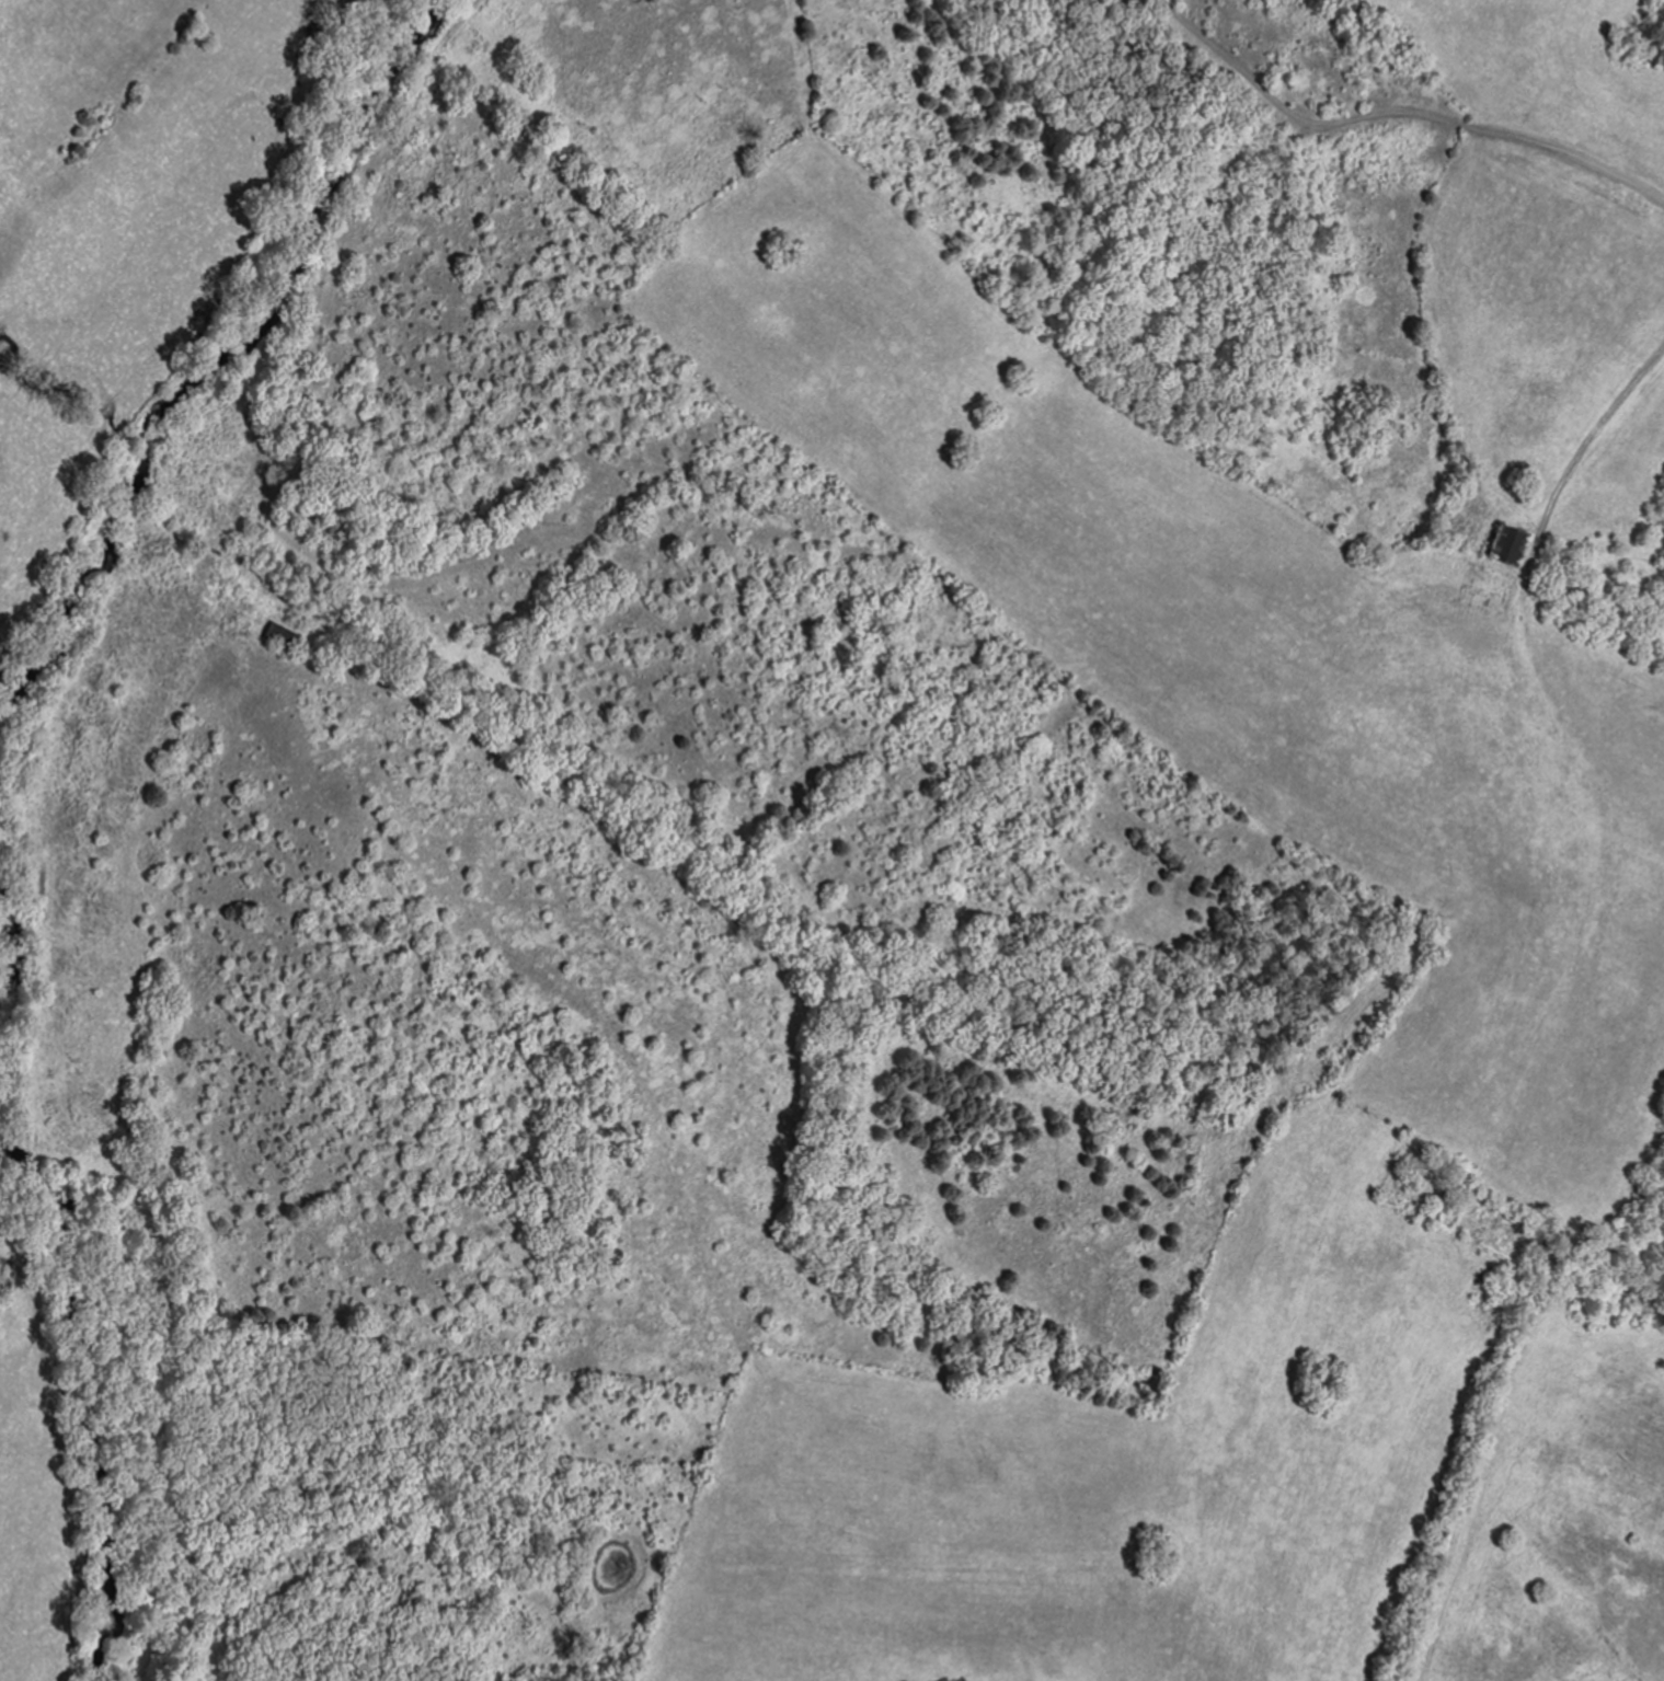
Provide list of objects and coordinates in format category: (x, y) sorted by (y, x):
road: (1399, 115)
road: (313, 295)
road: (1569, 470)
building: (1503, 548)
building: (283, 636)

